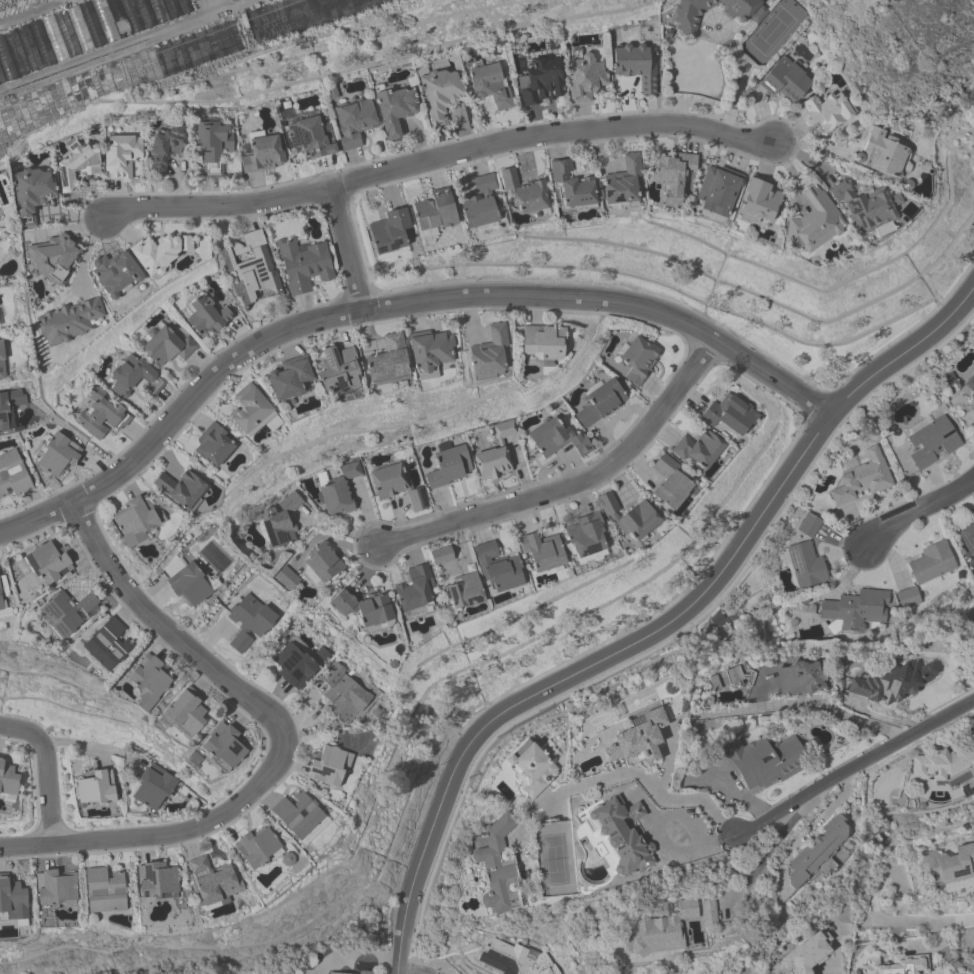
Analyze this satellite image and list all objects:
building: (688, 17)
crop: (126, 45)
building: (638, 65)
building: (586, 79)
building: (785, 80)
building: (543, 81)
road: (741, 81)
building: (492, 85)
building: (442, 92)
building: (395, 110)
building: (828, 111)
building: (355, 122)
road: (489, 122)
building: (311, 138)
building: (214, 145)
building: (166, 148)
building: (881, 152)
building: (264, 154)
building: (122, 155)
road: (439, 156)
building: (78, 165)
building: (674, 175)
building: (624, 181)
road: (178, 184)
building: (572, 185)
building: (33, 190)
building: (719, 190)
building: (525, 191)
building: (760, 199)
building: (481, 202)
building: (865, 205)
building: (436, 212)
building: (0, 217)
building: (813, 222)
road: (68, 228)
building: (390, 231)
road: (88, 248)
road: (346, 248)
building: (161, 251)
building: (53, 257)
building: (304, 264)
building: (251, 268)
building: (115, 273)
road: (394, 305)
building: (207, 316)
building: (70, 320)
building: (544, 341)
building: (169, 346)
building: (432, 349)
building: (489, 351)
building: (3, 359)
building: (640, 359)
building: (388, 360)
building: (338, 370)
building: (136, 376)
building: (290, 378)
building: (970, 384)
building: (973, 401)
building: (601, 402)
building: (9, 407)
building: (250, 409)
building: (730, 414)
building: (100, 417)
building: (557, 438)
building: (933, 441)
building: (214, 445)
building: (698, 448)
building: (497, 452)
building: (59, 454)
building: (449, 465)
building: (13, 474)
building: (863, 479)
building: (670, 482)
road: (572, 483)
building: (397, 485)
building: (181, 488)
building: (341, 489)
road: (920, 510)
building: (630, 515)
building: (282, 519)
building: (136, 520)
building: (810, 523)
building: (588, 535)
building: (967, 537)
building: (545, 551)
building: (442, 555)
building: (48, 562)
building: (325, 562)
building: (932, 565)
building: (500, 567)
building: (805, 567)
building: (287, 578)
building: (191, 583)
building: (416, 587)
building: (465, 590)
building: (1, 602)
building: (364, 608)
building: (856, 611)
building: (68, 612)
building: (249, 622)
road: (660, 629)
road: (168, 632)
building: (108, 643)
building: (295, 665)
building: (729, 678)
building: (799, 678)
building: (149, 681)
building: (893, 682)
building: (345, 692)
road: (755, 708)
building: (187, 711)
building: (637, 738)
building: (225, 745)
road: (93, 747)
building: (764, 760)
building: (944, 761)
building: (331, 766)
road: (853, 766)
building: (532, 768)
road: (47, 769)
building: (8, 778)
road: (645, 779)
building: (97, 787)
building: (155, 788)
building: (298, 814)
road: (161, 834)
building: (622, 834)
building: (257, 847)
building: (818, 853)
building: (496, 865)
building: (947, 865)
building: (158, 879)
building: (214, 880)
building: (57, 886)
building: (105, 891)
building: (13, 898)
road: (950, 920)
building: (666, 927)
road: (922, 944)
building: (806, 953)
road: (350, 956)
road: (949, 956)
building: (514, 959)
building: (897, 965)
road: (832, 969)
building: (366, 972)
road: (409, 972)
building: (339, 973)

